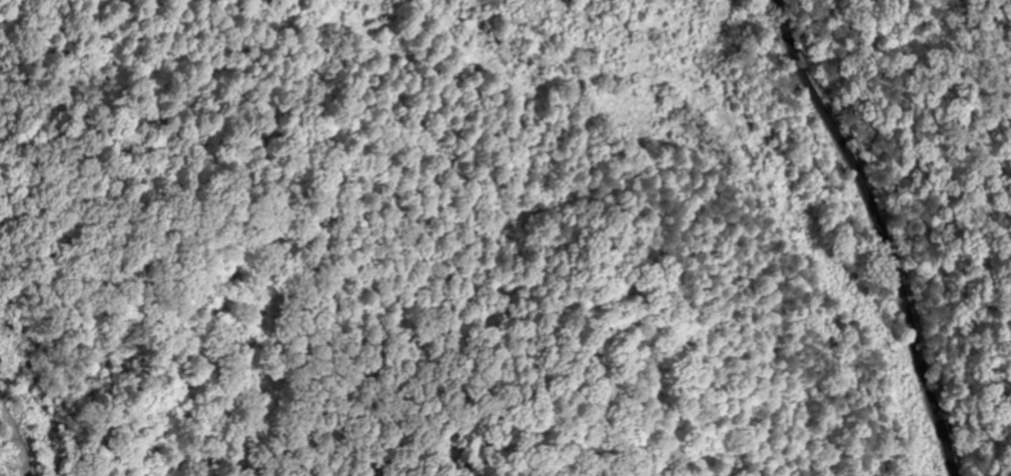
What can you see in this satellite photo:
road: (881, 231)

